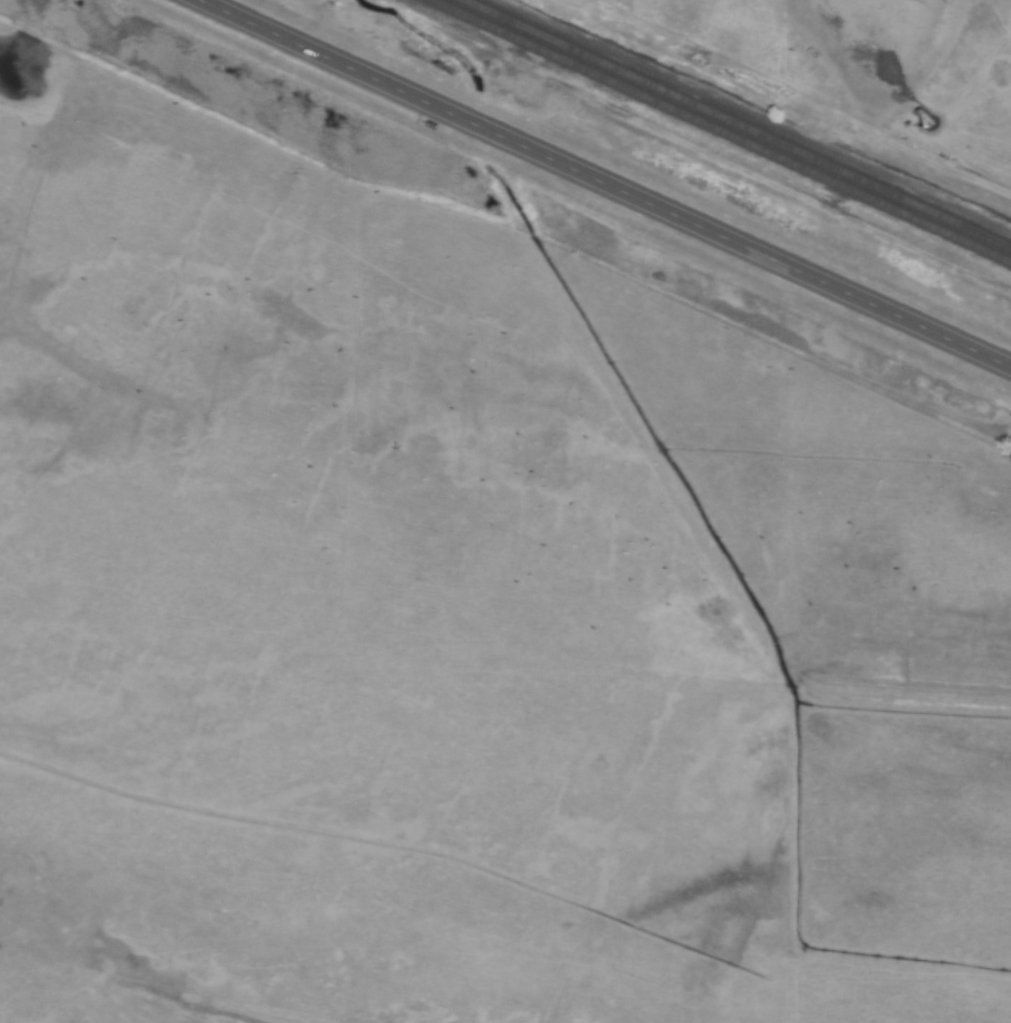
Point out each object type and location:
railway: (740, 122)
railway: (723, 130)
road: (607, 183)

